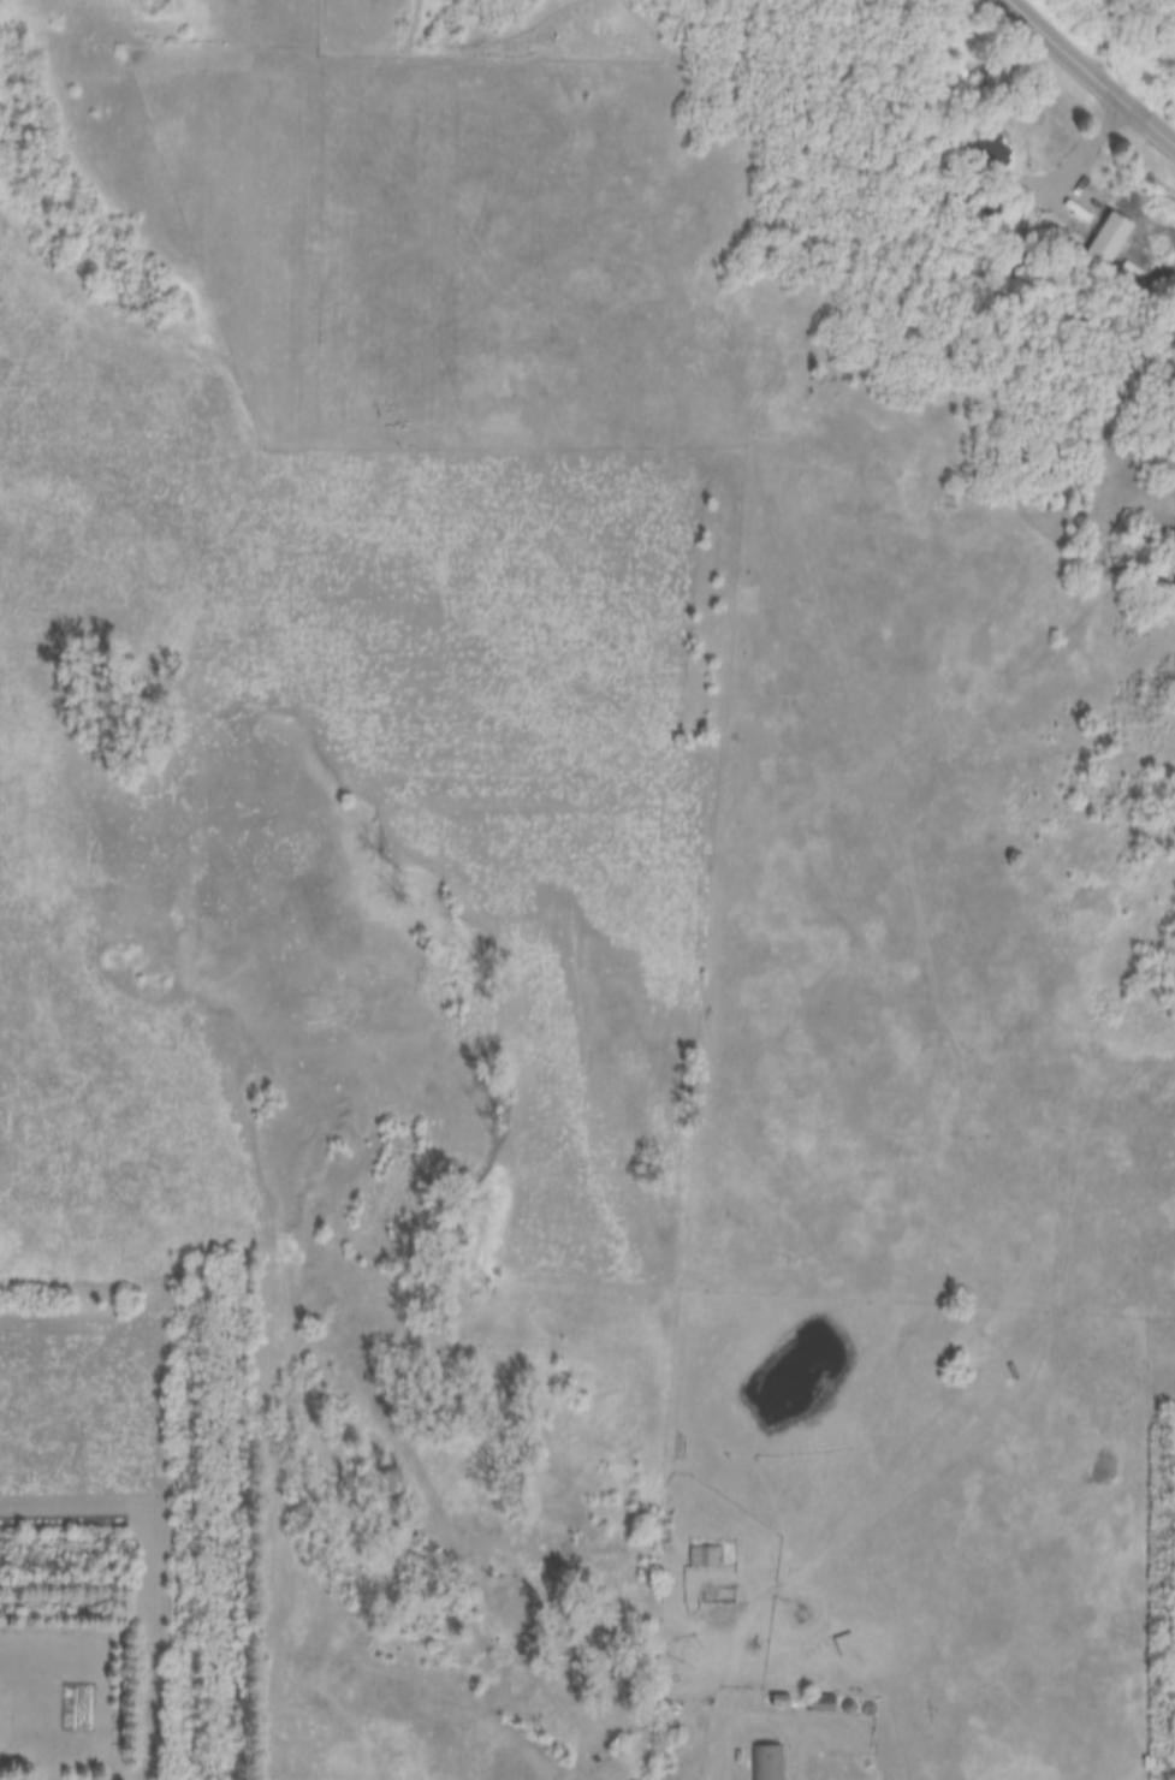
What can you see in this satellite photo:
road: (1092, 71)
road: (1074, 159)
building: (1104, 237)
building: (704, 1556)
building: (819, 1704)
building: (762, 1762)

